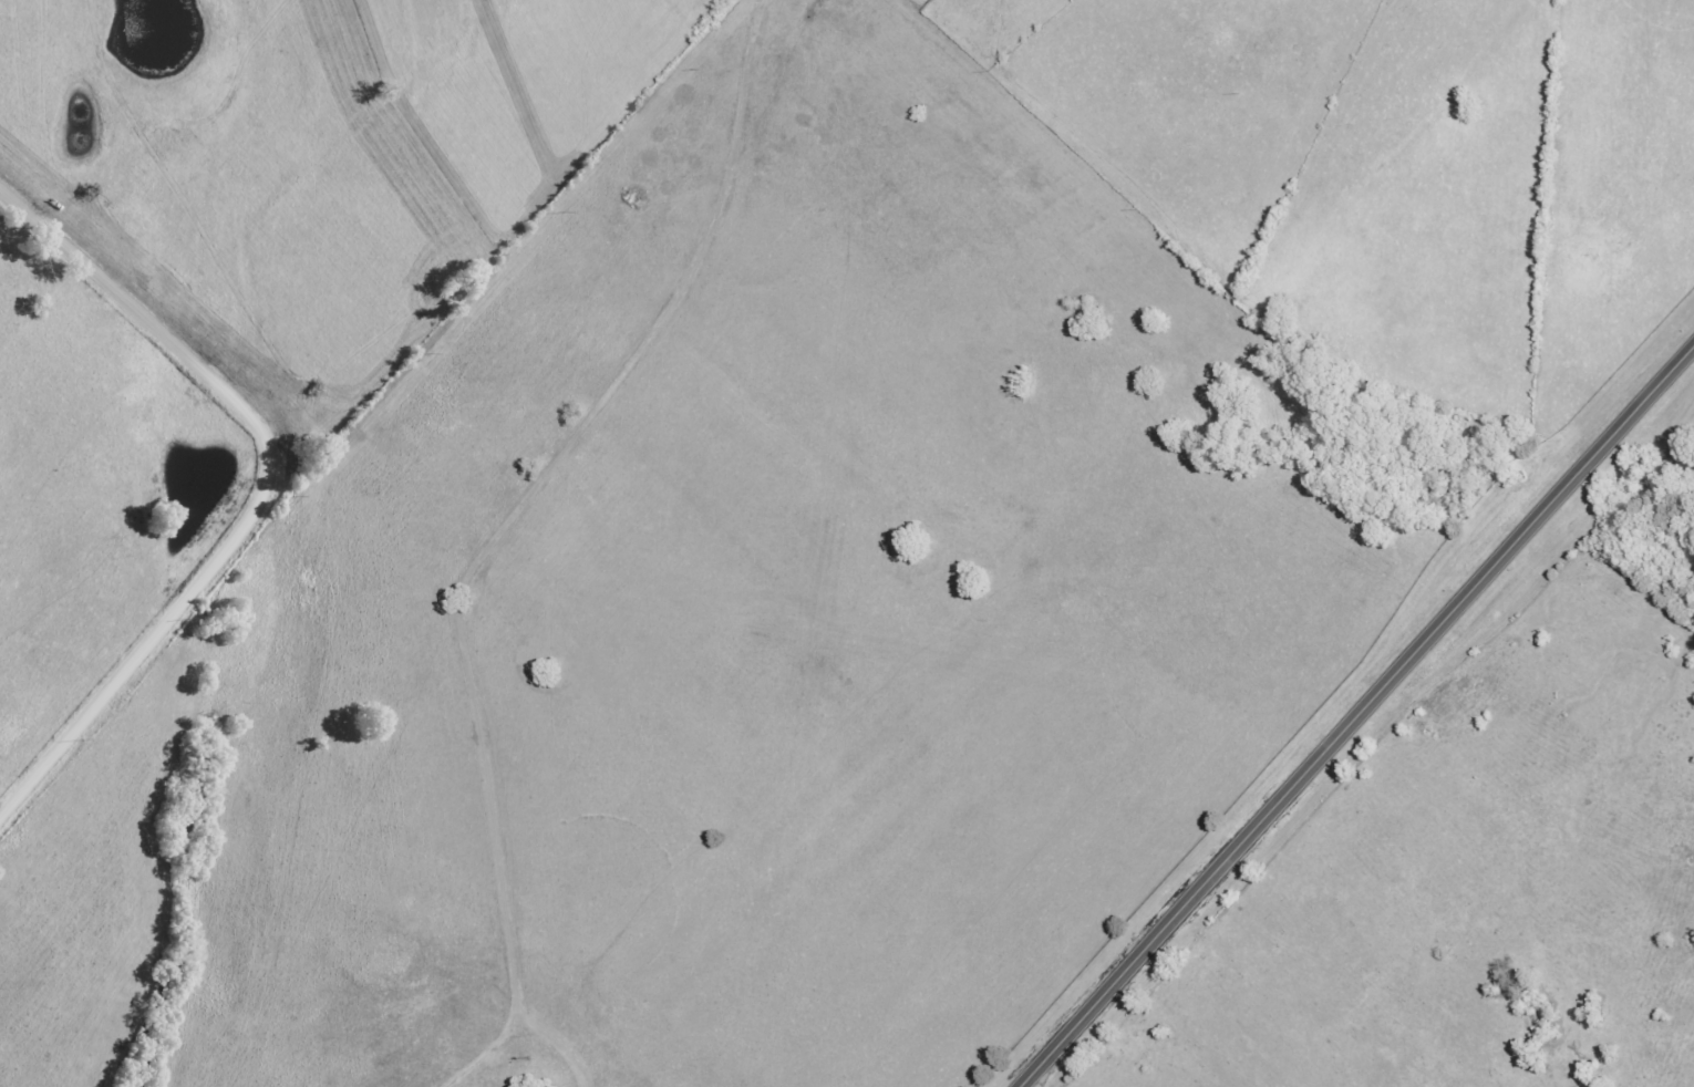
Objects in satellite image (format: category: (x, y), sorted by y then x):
road: (265, 490)
road: (1357, 716)
road: (568, 1069)

